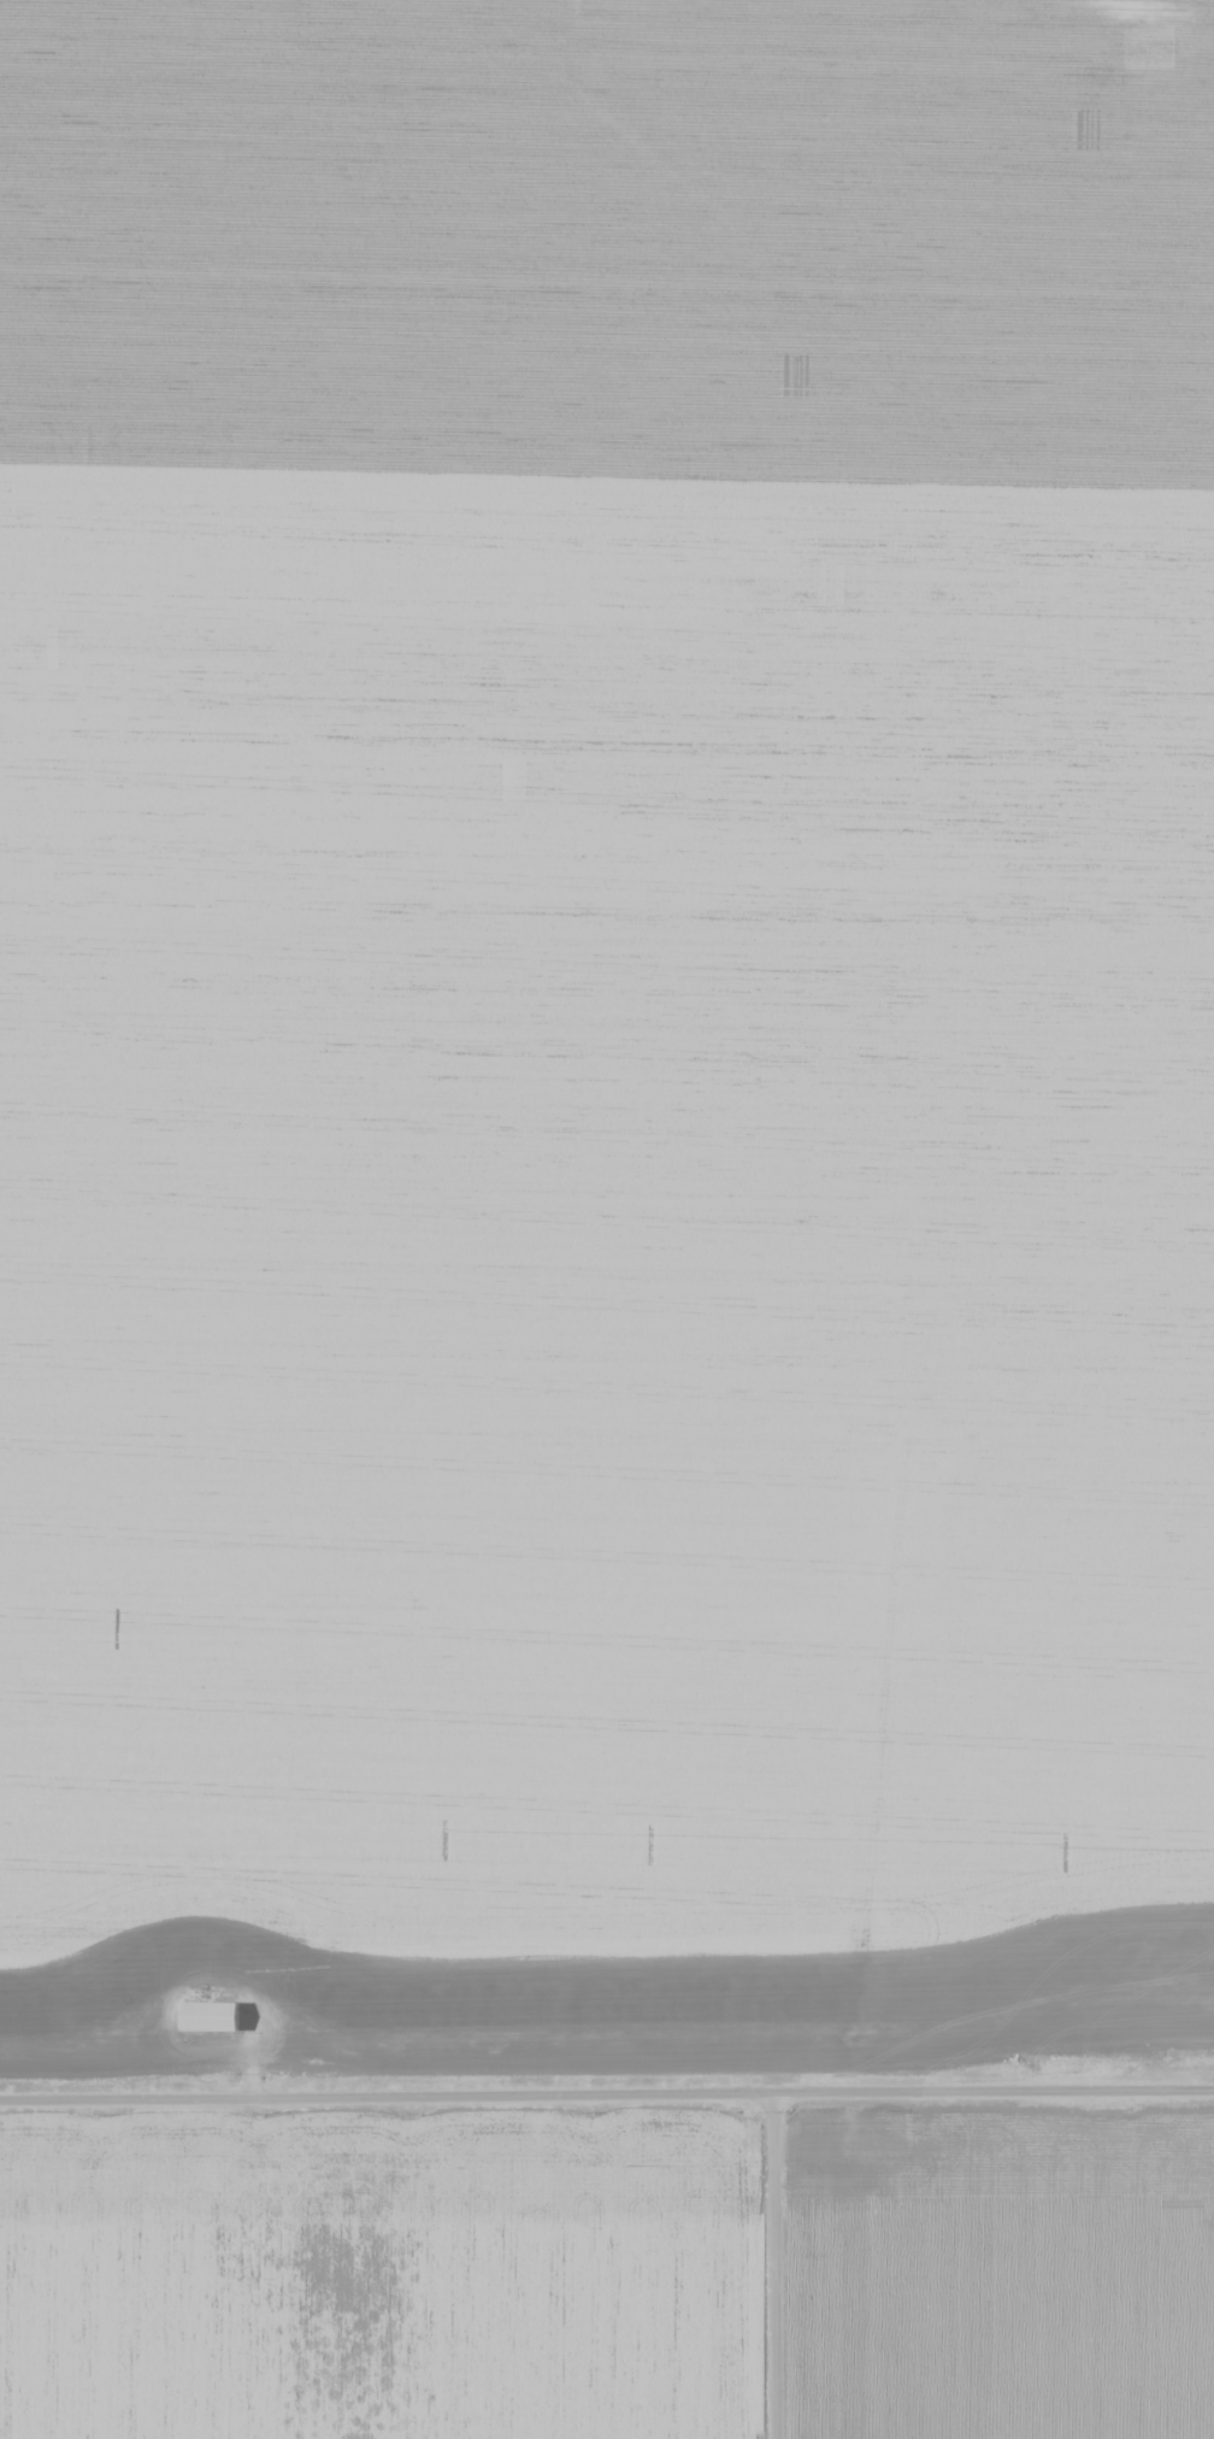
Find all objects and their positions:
building: (211, 2016)
road: (607, 2099)
road: (777, 2269)

